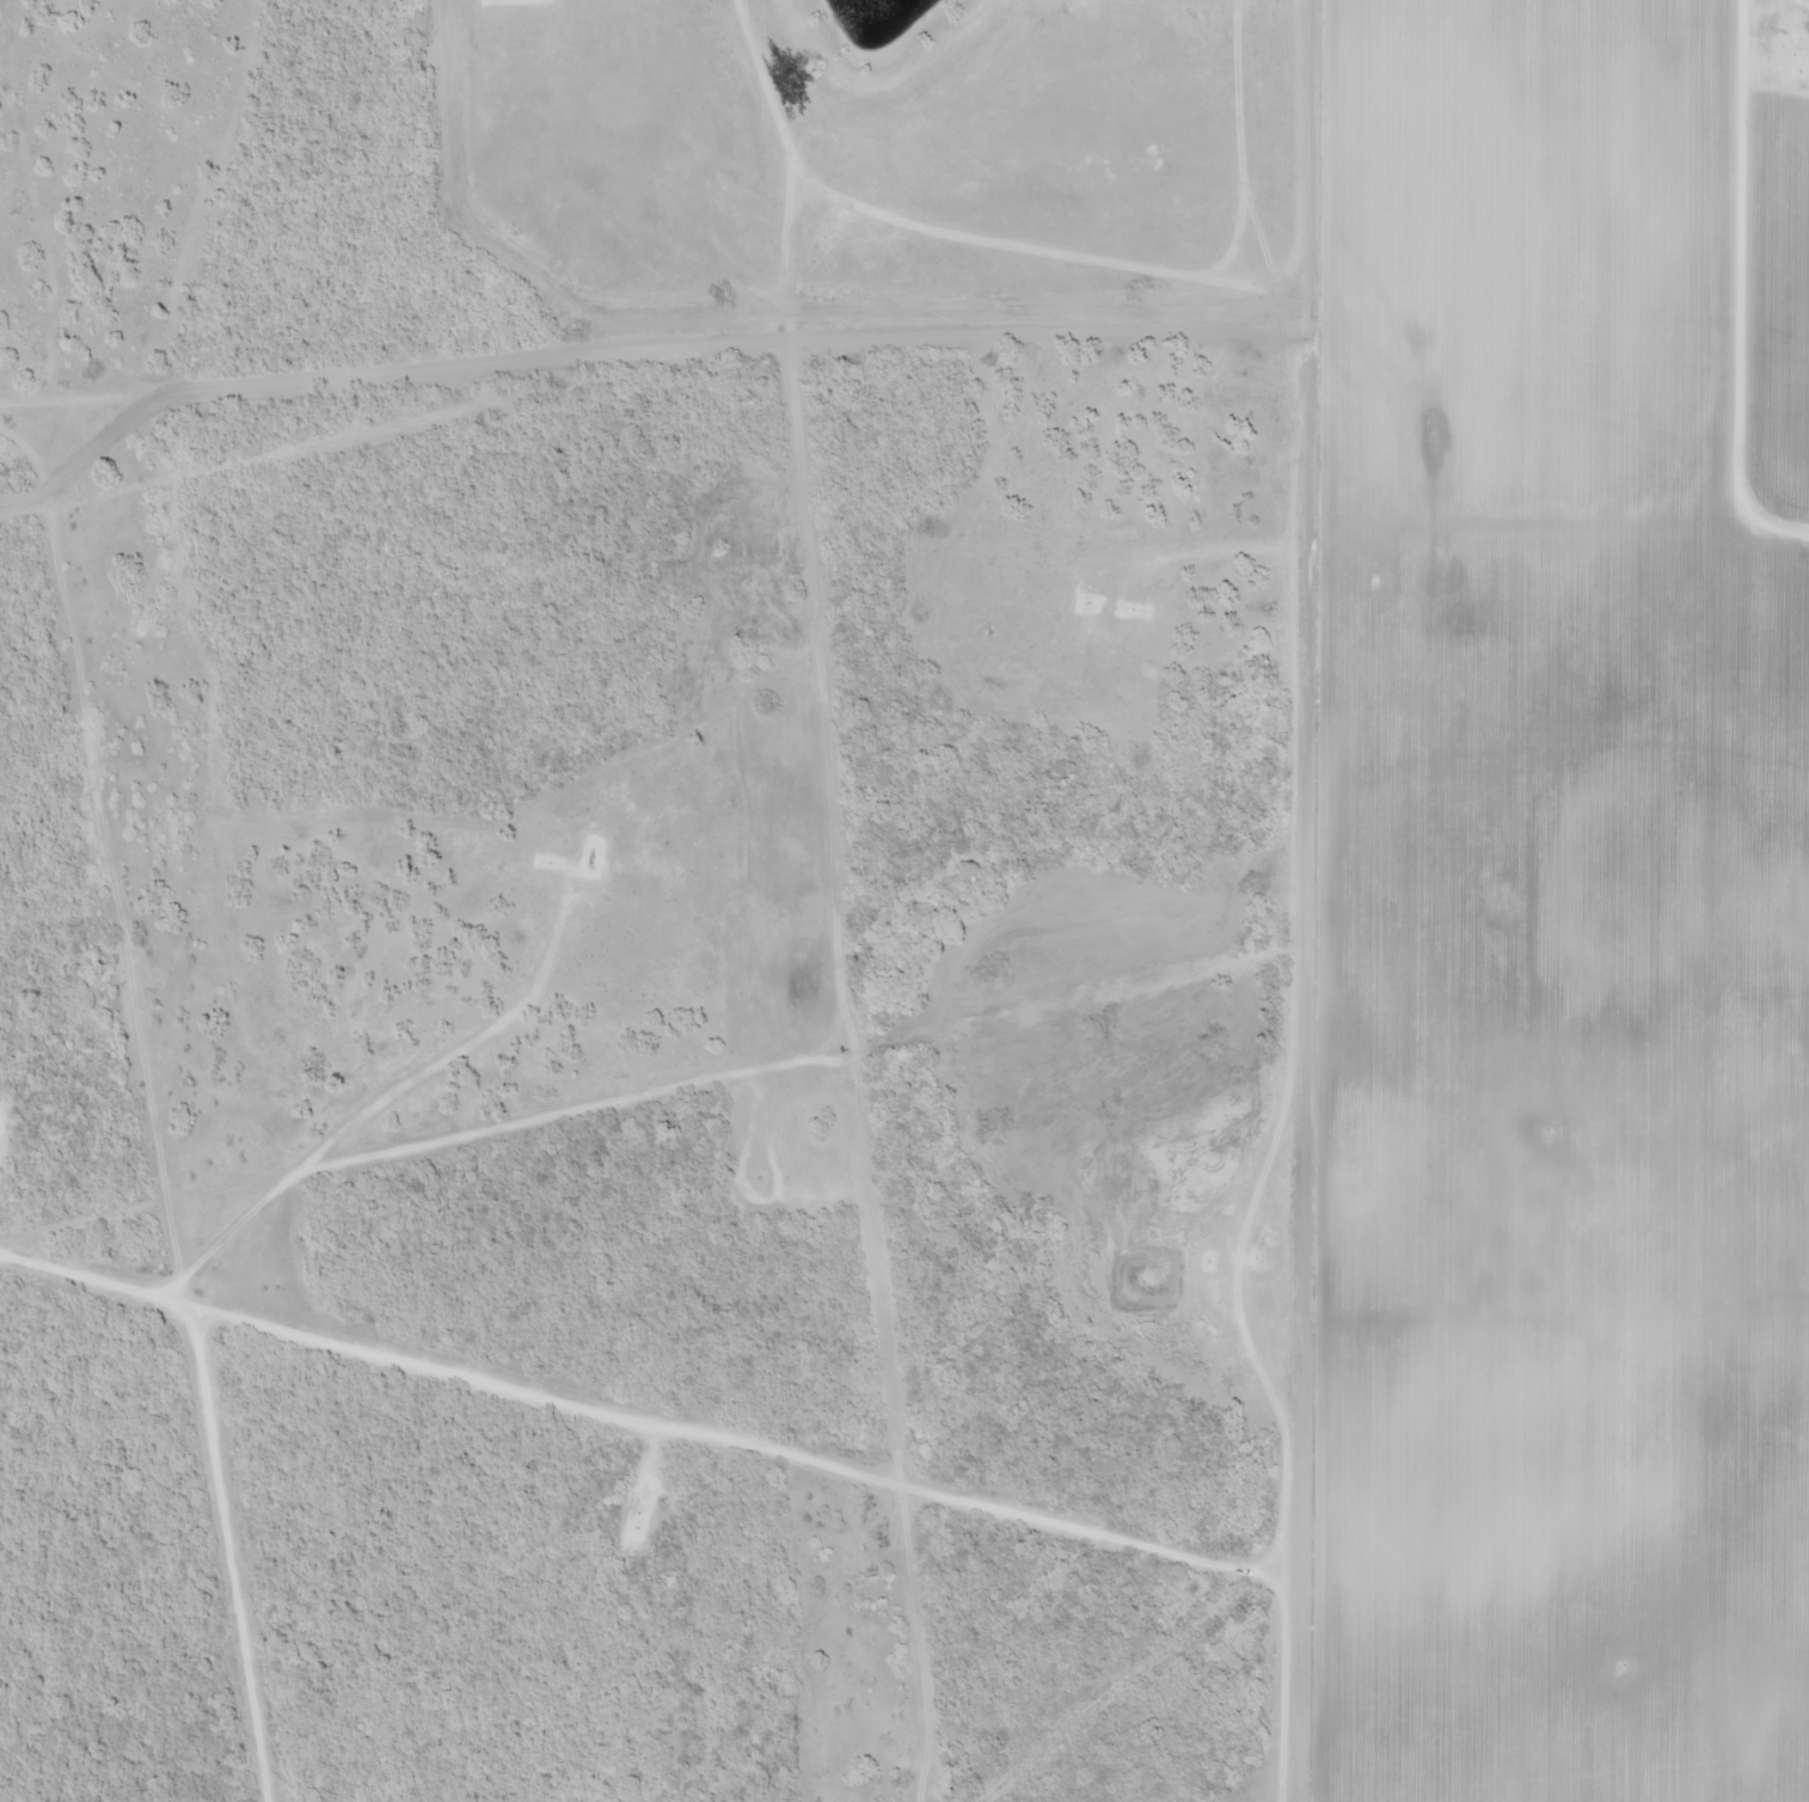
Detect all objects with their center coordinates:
road: (1329, 754)
road: (1337, 1378)
road: (1575, 1668)

